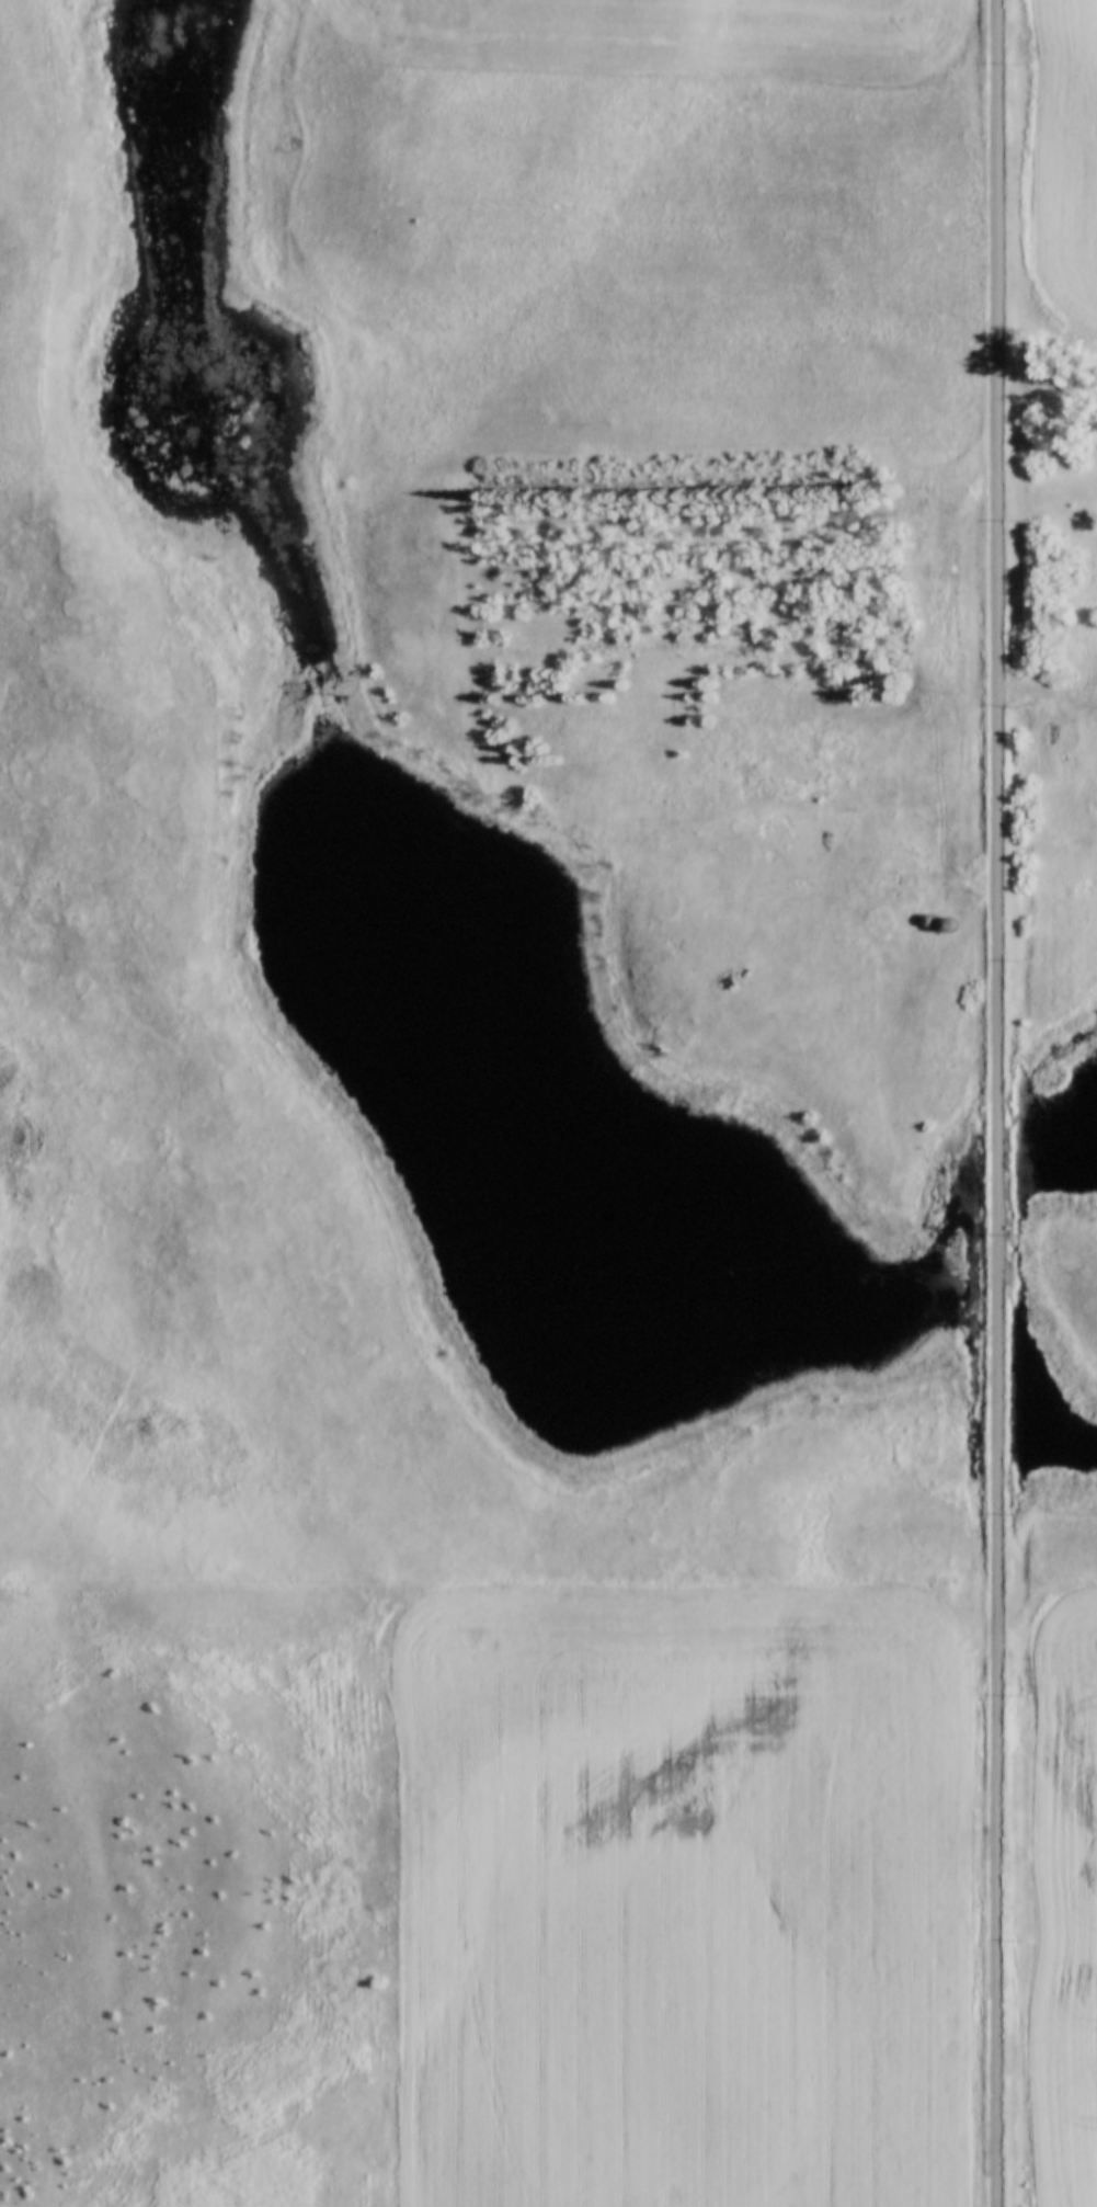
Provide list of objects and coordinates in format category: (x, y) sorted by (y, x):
road: (1047, 693)
road: (996, 1103)

